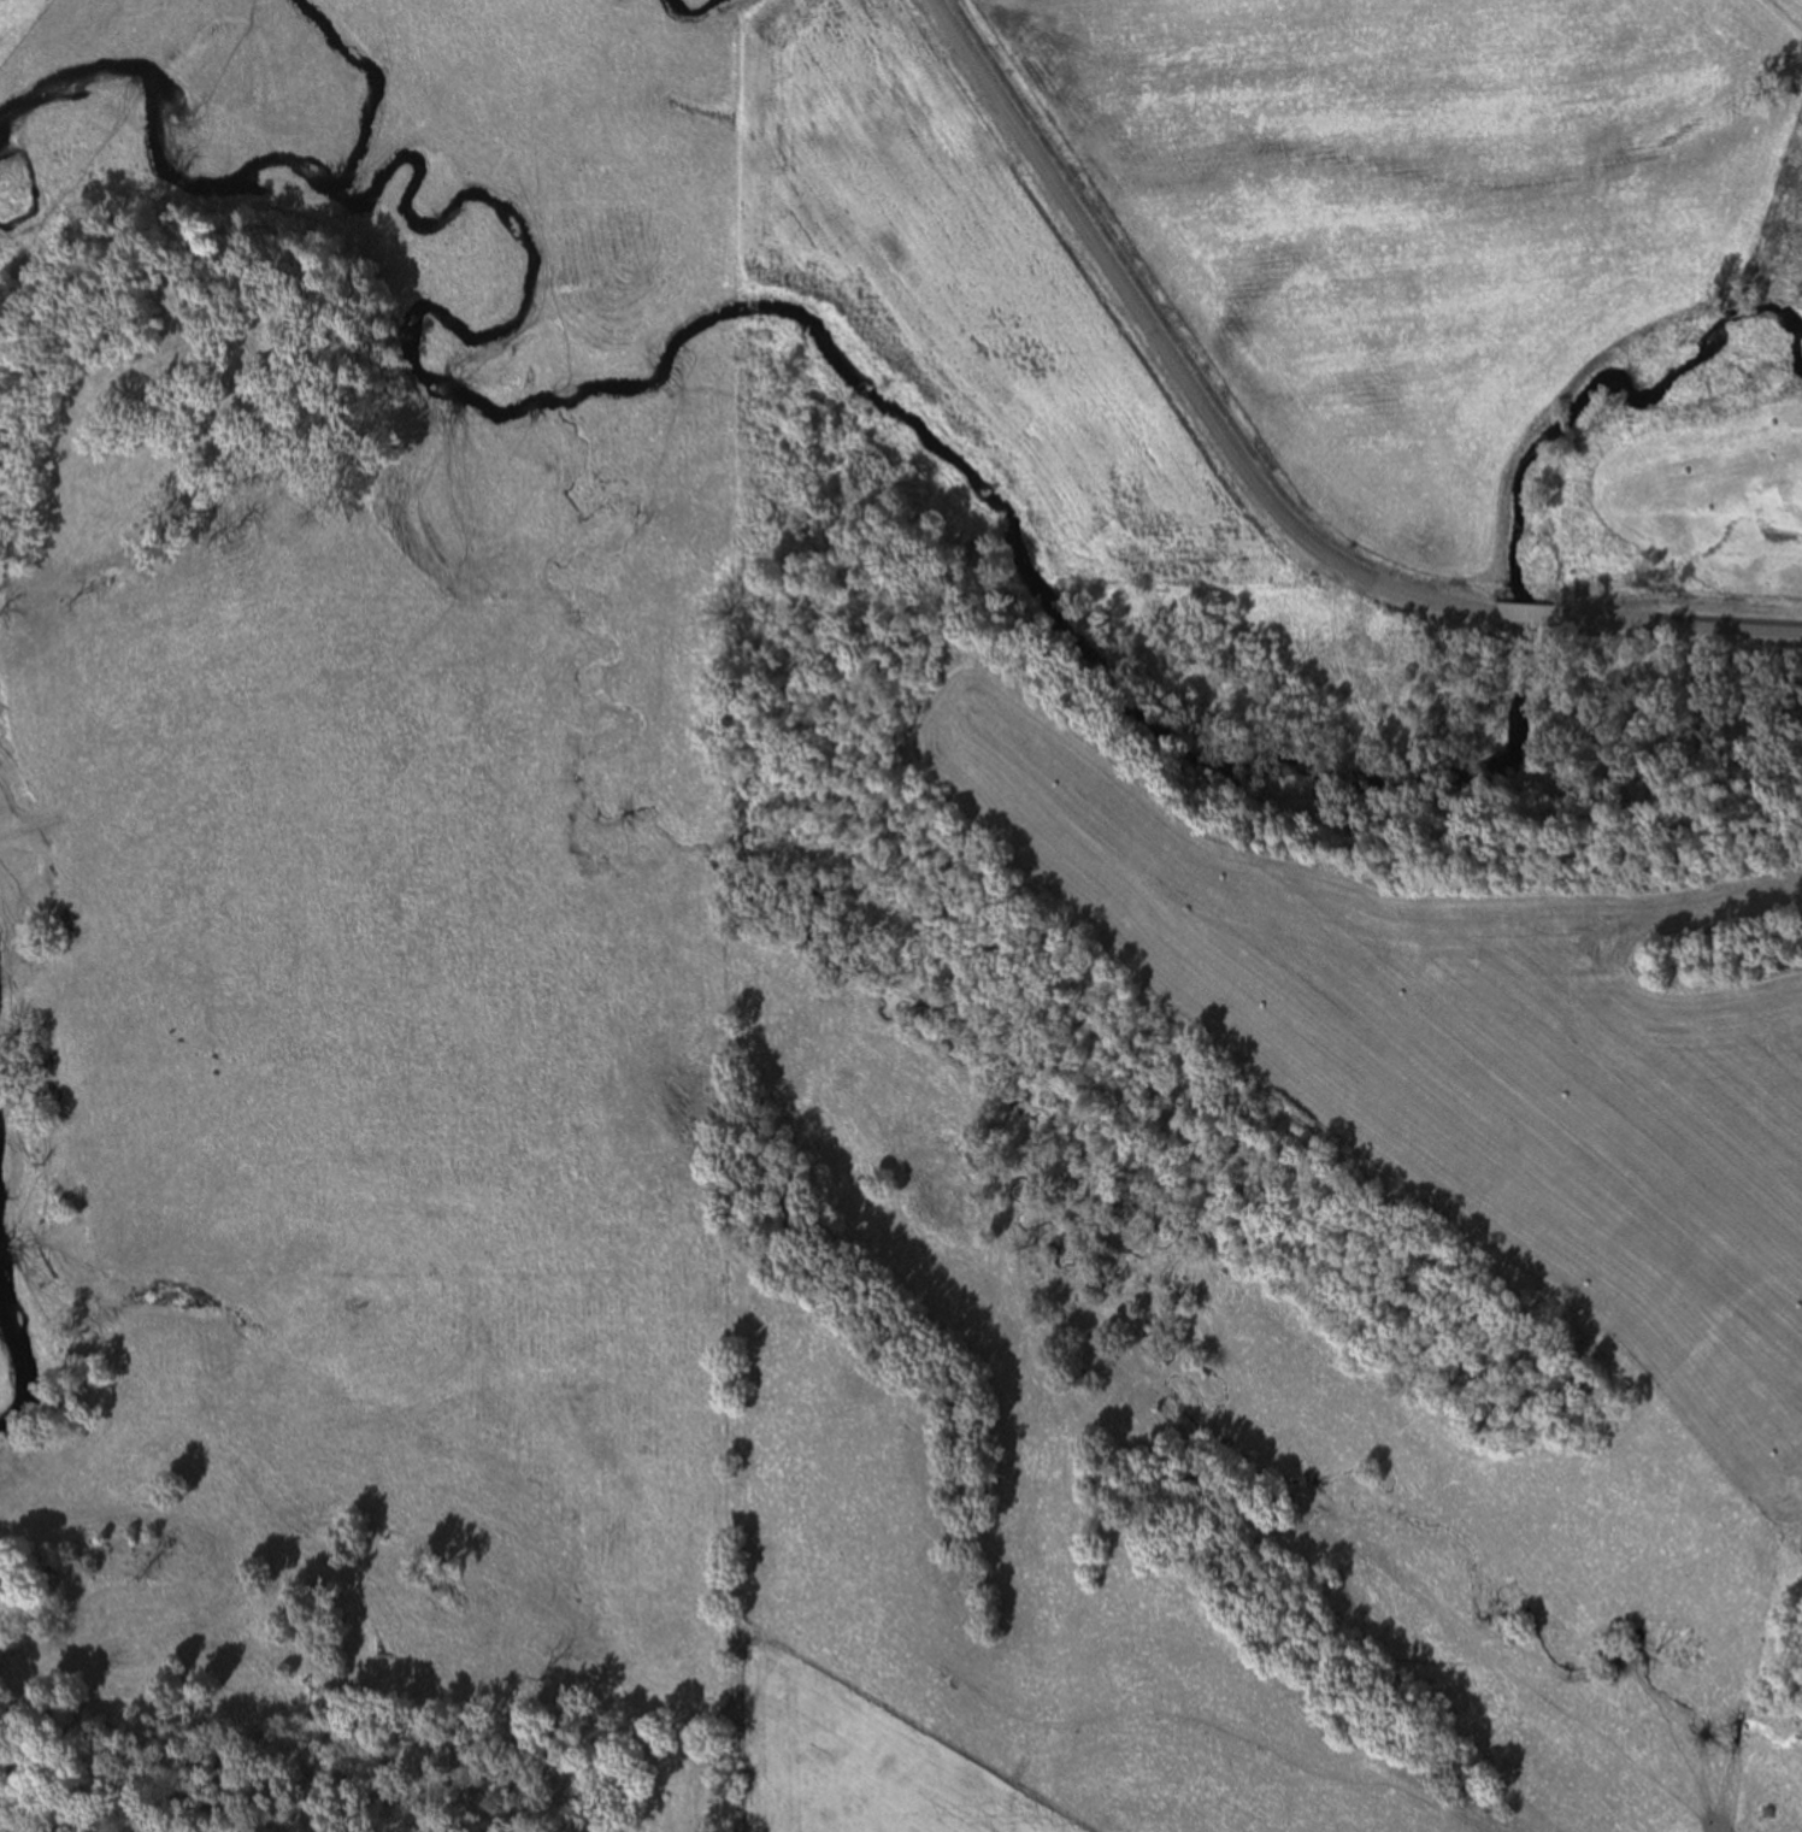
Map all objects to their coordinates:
road: (1176, 370)
road: (1537, 618)
road: (1679, 624)

